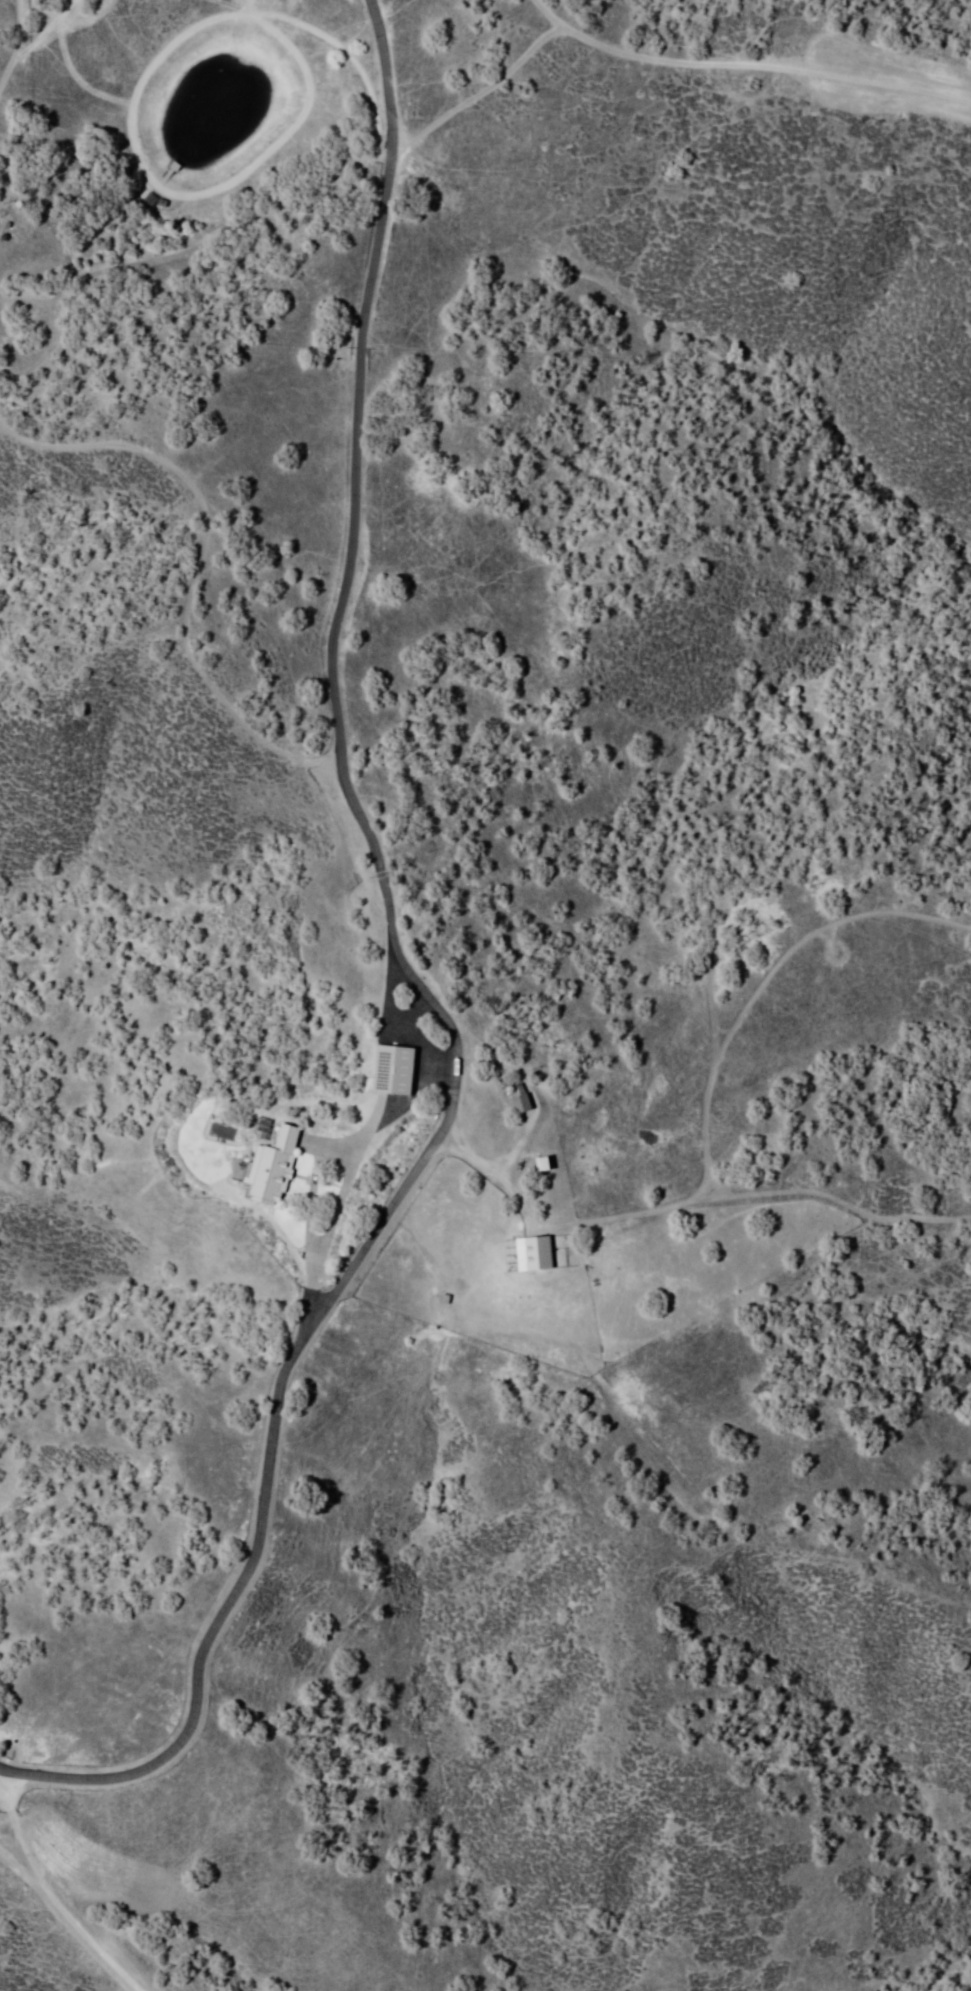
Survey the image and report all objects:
road: (19, 45)
road: (363, 383)
road: (191, 569)
road: (363, 820)
building: (396, 1073)
building: (460, 1080)
building: (524, 1106)
road: (705, 1115)
building: (275, 1169)
building: (537, 1257)
road: (282, 1382)
road: (17, 1829)
road: (70, 1918)

